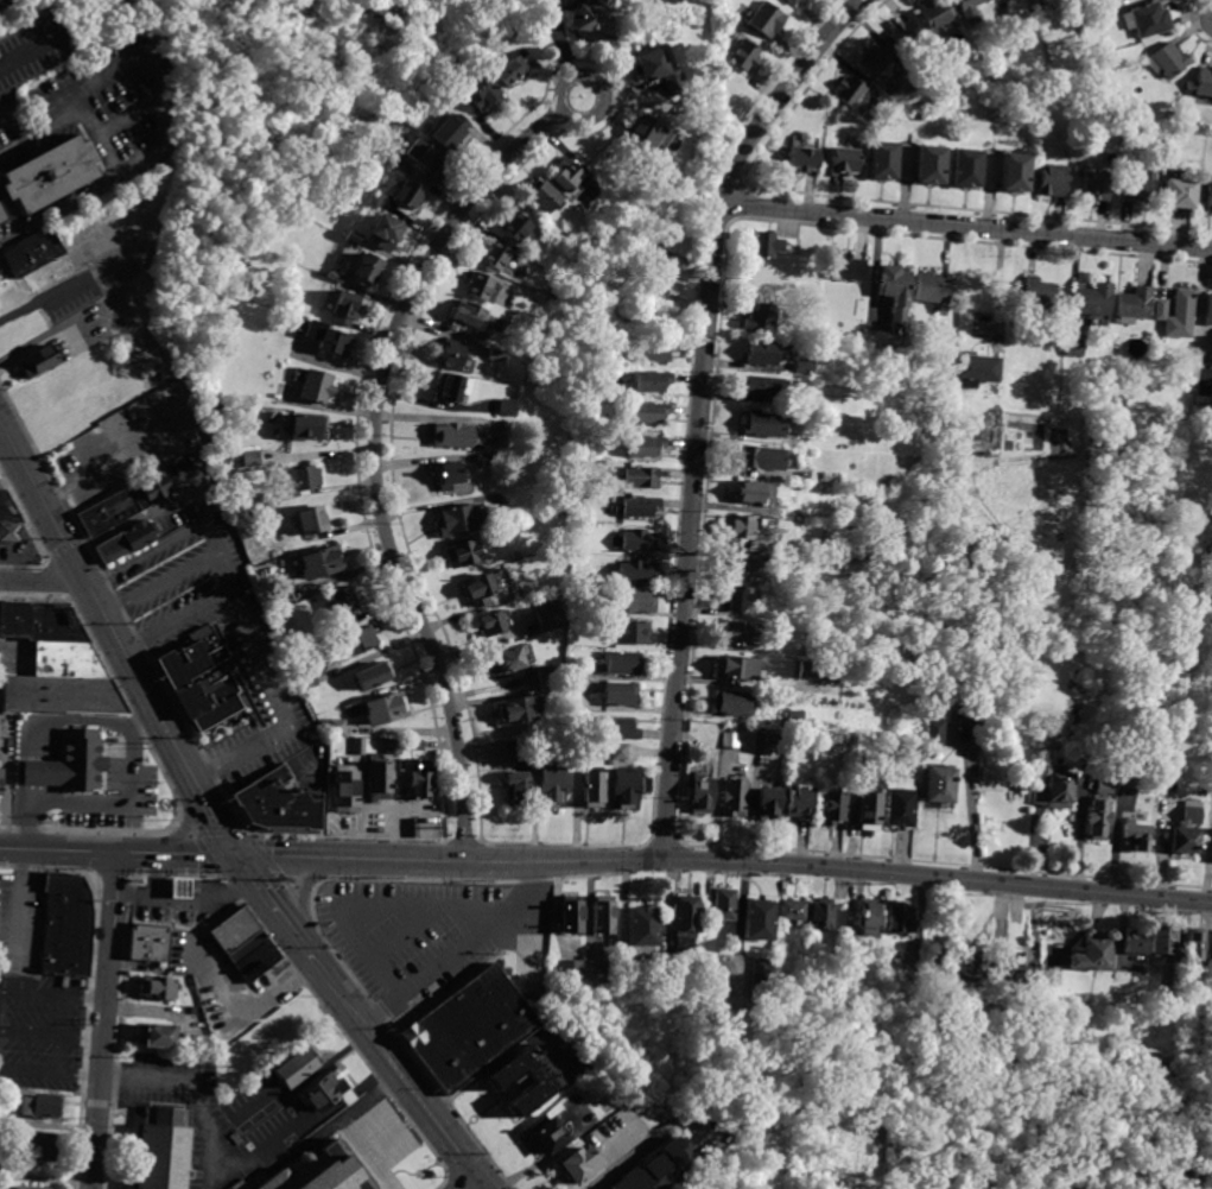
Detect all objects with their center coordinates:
building: (793, 1)
building: (966, 10)
building: (933, 13)
building: (595, 18)
building: (1149, 19)
building: (768, 20)
building: (902, 34)
road: (28, 49)
building: (744, 56)
road: (152, 59)
building: (1169, 59)
building: (872, 61)
building: (660, 71)
building: (512, 72)
building: (1204, 82)
building: (849, 91)
building: (484, 93)
building: (451, 95)
road: (129, 113)
road: (97, 128)
road: (44, 132)
building: (452, 132)
building: (647, 132)
building: (804, 159)
building: (843, 160)
building: (882, 160)
building: (427, 162)
building: (929, 164)
building: (399, 165)
building: (965, 166)
building: (44, 172)
building: (1015, 172)
building: (569, 176)
building: (1053, 179)
building: (1097, 185)
building: (1138, 186)
building: (1179, 194)
building: (410, 197)
building: (545, 197)
building: (1208, 197)
building: (376, 200)
road: (61, 209)
road: (966, 226)
building: (516, 228)
building: (389, 233)
building: (356, 239)
building: (775, 246)
building: (31, 251)
building: (496, 257)
building: (658, 258)
building: (846, 268)
building: (367, 270)
building: (336, 277)
building: (482, 286)
building: (643, 287)
building: (931, 287)
building: (891, 289)
building: (1035, 292)
building: (1093, 298)
building: (1134, 305)
building: (348, 308)
building: (1207, 310)
building: (1175, 314)
building: (464, 315)
building: (761, 320)
road: (37, 337)
building: (330, 339)
building: (1074, 347)
building: (652, 353)
building: (764, 353)
building: (451, 356)
building: (495, 356)
building: (38, 361)
building: (802, 367)
building: (973, 369)
building: (652, 381)
building: (316, 384)
building: (792, 385)
road: (379, 387)
building: (453, 387)
building: (763, 387)
building: (1121, 400)
road: (699, 404)
building: (507, 407)
building: (649, 413)
building: (823, 420)
building: (305, 426)
building: (500, 426)
building: (764, 426)
building: (453, 435)
building: (956, 436)
building: (646, 447)
building: (252, 458)
building: (486, 458)
building: (762, 458)
building: (224, 466)
building: (449, 475)
building: (305, 476)
building: (827, 478)
building: (641, 479)
building: (757, 494)
building: (123, 501)
building: (912, 502)
building: (5, 505)
building: (252, 506)
building: (637, 507)
building: (312, 520)
building: (458, 520)
building: (742, 526)
building: (9, 532)
building: (121, 539)
building: (639, 542)
building: (464, 554)
building: (742, 561)
building: (323, 562)
building: (635, 571)
road: (39, 582)
road: (158, 582)
building: (487, 587)
road: (90, 594)
building: (275, 599)
building: (737, 599)
building: (635, 601)
building: (342, 603)
road: (239, 613)
building: (550, 615)
building: (812, 618)
road: (174, 620)
building: (494, 624)
building: (741, 632)
building: (633, 633)
building: (205, 635)
building: (357, 643)
building: (294, 645)
building: (807, 653)
building: (508, 659)
building: (55, 663)
building: (621, 663)
building: (740, 668)
building: (811, 671)
building: (372, 676)
building: (546, 676)
building: (307, 681)
building: (205, 683)
building: (992, 688)
building: (621, 694)
building: (954, 700)
building: (734, 703)
building: (386, 709)
building: (519, 710)
building: (934, 713)
building: (971, 716)
building: (795, 719)
building: (810, 726)
building: (337, 727)
building: (620, 729)
building: (934, 733)
building: (779, 739)
building: (731, 740)
building: (414, 745)
building: (360, 747)
building: (394, 747)
building: (599, 748)
building: (913, 750)
building: (541, 751)
building: (620, 752)
building: (70, 761)
building: (863, 769)
building: (1130, 778)
building: (421, 779)
building: (1, 780)
building: (381, 780)
building: (995, 780)
building: (553, 786)
building: (1104, 786)
building: (939, 788)
building: (347, 789)
building: (592, 789)
building: (1053, 789)
building: (518, 790)
building: (627, 790)
building: (287, 791)
building: (702, 793)
building: (735, 798)
road: (106, 802)
building: (769, 803)
building: (801, 803)
road: (209, 805)
building: (901, 805)
road: (971, 805)
building: (833, 808)
building: (871, 811)
building: (1097, 818)
road: (186, 823)
road: (383, 829)
building: (1185, 833)
street lamp: (201, 835)
building: (1135, 837)
road: (388, 843)
road: (28, 848)
road: (146, 852)
traffic signals: (235, 853)
road: (349, 855)
road: (838, 867)
building: (180, 888)
gas station: (180, 888)
street lamp: (288, 890)
road: (298, 891)
road: (17, 905)
building: (724, 905)
road: (278, 910)
building: (794, 912)
building: (571, 915)
building: (603, 915)
building: (821, 916)
building: (900, 919)
building: (759, 921)
building: (870, 921)
building: (684, 925)
building: (65, 926)
building: (642, 928)
building: (150, 942)
building: (1135, 942)
building: (1163, 943)
building: (245, 944)
building: (1194, 945)
road: (462, 953)
building: (1091, 954)
building: (965, 965)
building: (1211, 967)
building: (570, 968)
building: (1021, 968)
building: (599, 974)
building: (1052, 975)
building: (761, 978)
building: (1138, 978)
road: (310, 987)
building: (998, 987)
building: (158, 988)
road: (53, 993)
road: (247, 1001)
road: (104, 1020)
building: (469, 1026)
parking lot: (42, 1027)
building: (1004, 1030)
road: (51, 1031)
road: (119, 1031)
building: (157, 1037)
building: (297, 1067)
road: (50, 1071)
road: (402, 1079)
building: (544, 1080)
building: (329, 1089)
building: (40, 1103)
parking lot: (210, 1119)
parking lot: (385, 1132)
building: (548, 1134)
building: (40, 1144)
building: (163, 1146)
road: (643, 1149)
road: (364, 1155)
building: (580, 1165)
road: (233, 1166)
building: (662, 1169)
building: (316, 1172)
building: (715, 1172)
road: (451, 1179)
traffic signals: (480, 1181)
road: (444, 1183)
road: (474, 1184)
building: (31, 1185)
building: (609, 1188)

